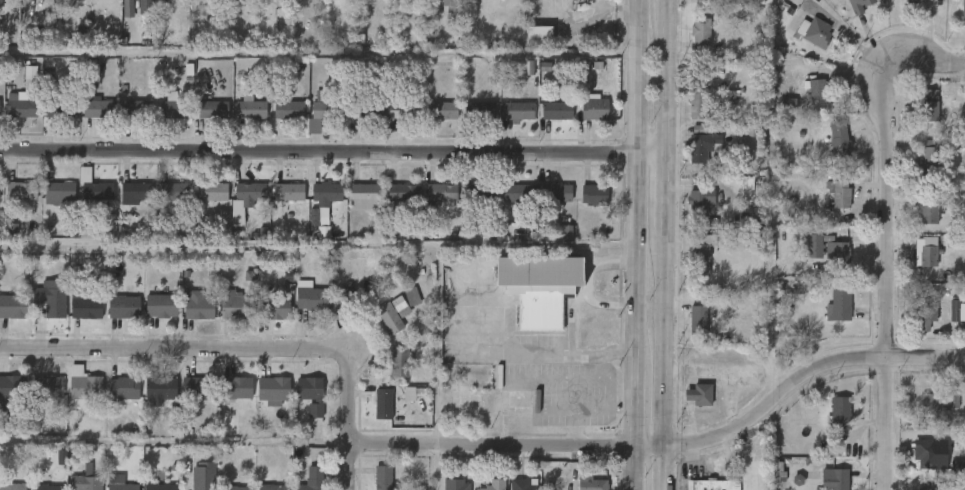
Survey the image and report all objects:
building: (572, 0)
building: (762, 0)
building: (26, 1)
building: (488, 1)
building: (912, 1)
building: (92, 2)
building: (589, 4)
building: (447, 5)
building: (698, 5)
building: (857, 5)
road: (667, 7)
building: (134, 9)
building: (437, 11)
building: (962, 11)
building: (813, 31)
building: (701, 33)
building: (539, 36)
building: (803, 44)
building: (689, 45)
building: (527, 46)
road: (316, 53)
road: (926, 62)
building: (30, 79)
road: (667, 85)
building: (814, 88)
building: (19, 90)
building: (806, 101)
building: (701, 103)
building: (928, 105)
building: (20, 107)
building: (174, 107)
building: (60, 108)
building: (97, 108)
building: (137, 108)
building: (250, 108)
building: (479, 108)
building: (595, 108)
building: (212, 109)
building: (290, 110)
building: (327, 110)
building: (366, 110)
building: (442, 110)
building: (558, 110)
building: (404, 111)
building: (518, 111)
building: (686, 117)
building: (919, 117)
building: (11, 119)
building: (86, 119)
building: (163, 119)
building: (49, 120)
building: (126, 120)
building: (583, 120)
building: (239, 121)
building: (308, 121)
building: (202, 122)
building: (278, 122)
building: (392, 122)
building: (431, 122)
building: (468, 122)
building: (361, 123)
building: (545, 123)
building: (506, 124)
building: (840, 138)
building: (704, 146)
building: (827, 151)
road: (333, 152)
building: (931, 156)
building: (692, 158)
building: (960, 160)
building: (918, 172)
road: (631, 184)
building: (91, 188)
building: (21, 190)
building: (56, 191)
building: (171, 191)
building: (209, 191)
building: (247, 191)
building: (286, 191)
building: (840, 191)
building: (132, 192)
building: (401, 192)
building: (440, 192)
building: (478, 192)
building: (516, 192)
building: (555, 192)
building: (324, 194)
building: (592, 194)
road: (667, 194)
building: (363, 196)
building: (83, 199)
building: (12, 202)
building: (163, 202)
building: (125, 203)
building: (699, 203)
building: (48, 204)
building: (201, 204)
building: (277, 204)
building: (239, 205)
building: (392, 205)
building: (430, 205)
building: (468, 205)
building: (507, 205)
building: (545, 205)
building: (827, 205)
building: (583, 206)
building: (354, 208)
building: (314, 211)
building: (929, 213)
building: (918, 225)
road: (336, 243)
building: (829, 248)
building: (925, 253)
building: (803, 258)
building: (701, 261)
building: (825, 263)
building: (917, 263)
building: (690, 271)
road: (885, 275)
road: (587, 282)
building: (540, 290)
building: (349, 292)
building: (308, 297)
building: (48, 299)
building: (85, 305)
building: (158, 305)
building: (195, 305)
building: (838, 305)
building: (12, 306)
building: (121, 306)
building: (233, 306)
building: (272, 307)
building: (400, 308)
building: (300, 309)
building: (335, 309)
building: (41, 310)
building: (927, 315)
building: (75, 317)
building: (223, 317)
building: (150, 318)
building: (187, 318)
building: (387, 318)
building: (827, 318)
building: (7, 319)
building: (113, 319)
building: (267, 320)
building: (698, 320)
building: (942, 322)
building: (961, 324)
road: (769, 327)
building: (915, 331)
building: (686, 332)
road: (666, 340)
road: (216, 348)
road: (563, 357)
building: (397, 362)
road: (716, 370)
building: (388, 374)
road: (807, 376)
building: (47, 387)
building: (84, 387)
building: (11, 388)
building: (123, 388)
building: (198, 388)
building: (236, 388)
building: (159, 389)
building: (273, 390)
building: (310, 395)
building: (73, 396)
building: (689, 396)
building: (463, 397)
building: (37, 399)
building: (227, 399)
building: (513, 399)
road: (730, 399)
building: (112, 400)
building: (150, 400)
building: (185, 400)
building: (262, 402)
building: (937, 402)
building: (381, 404)
building: (300, 406)
building: (692, 406)
road: (631, 408)
building: (675, 409)
road: (600, 410)
building: (837, 412)
building: (927, 413)
building: (372, 415)
building: (828, 423)
road: (174, 442)
road: (490, 445)
road: (648, 447)
building: (926, 457)
building: (914, 463)
road: (348, 467)
road: (630, 468)
road: (665, 468)
building: (383, 477)
building: (310, 478)
building: (85, 479)
building: (947, 479)
building: (837, 480)
building: (9, 482)
building: (119, 483)
building: (372, 483)
building: (456, 484)
building: (495, 484)
building: (523, 484)
building: (594, 484)
building: (714, 484)
building: (823, 485)
building: (46, 487)
building: (270, 487)
building: (68, 488)
building: (105, 488)
building: (160, 488)
building: (232, 488)
building: (573, 488)
building: (924, 488)

